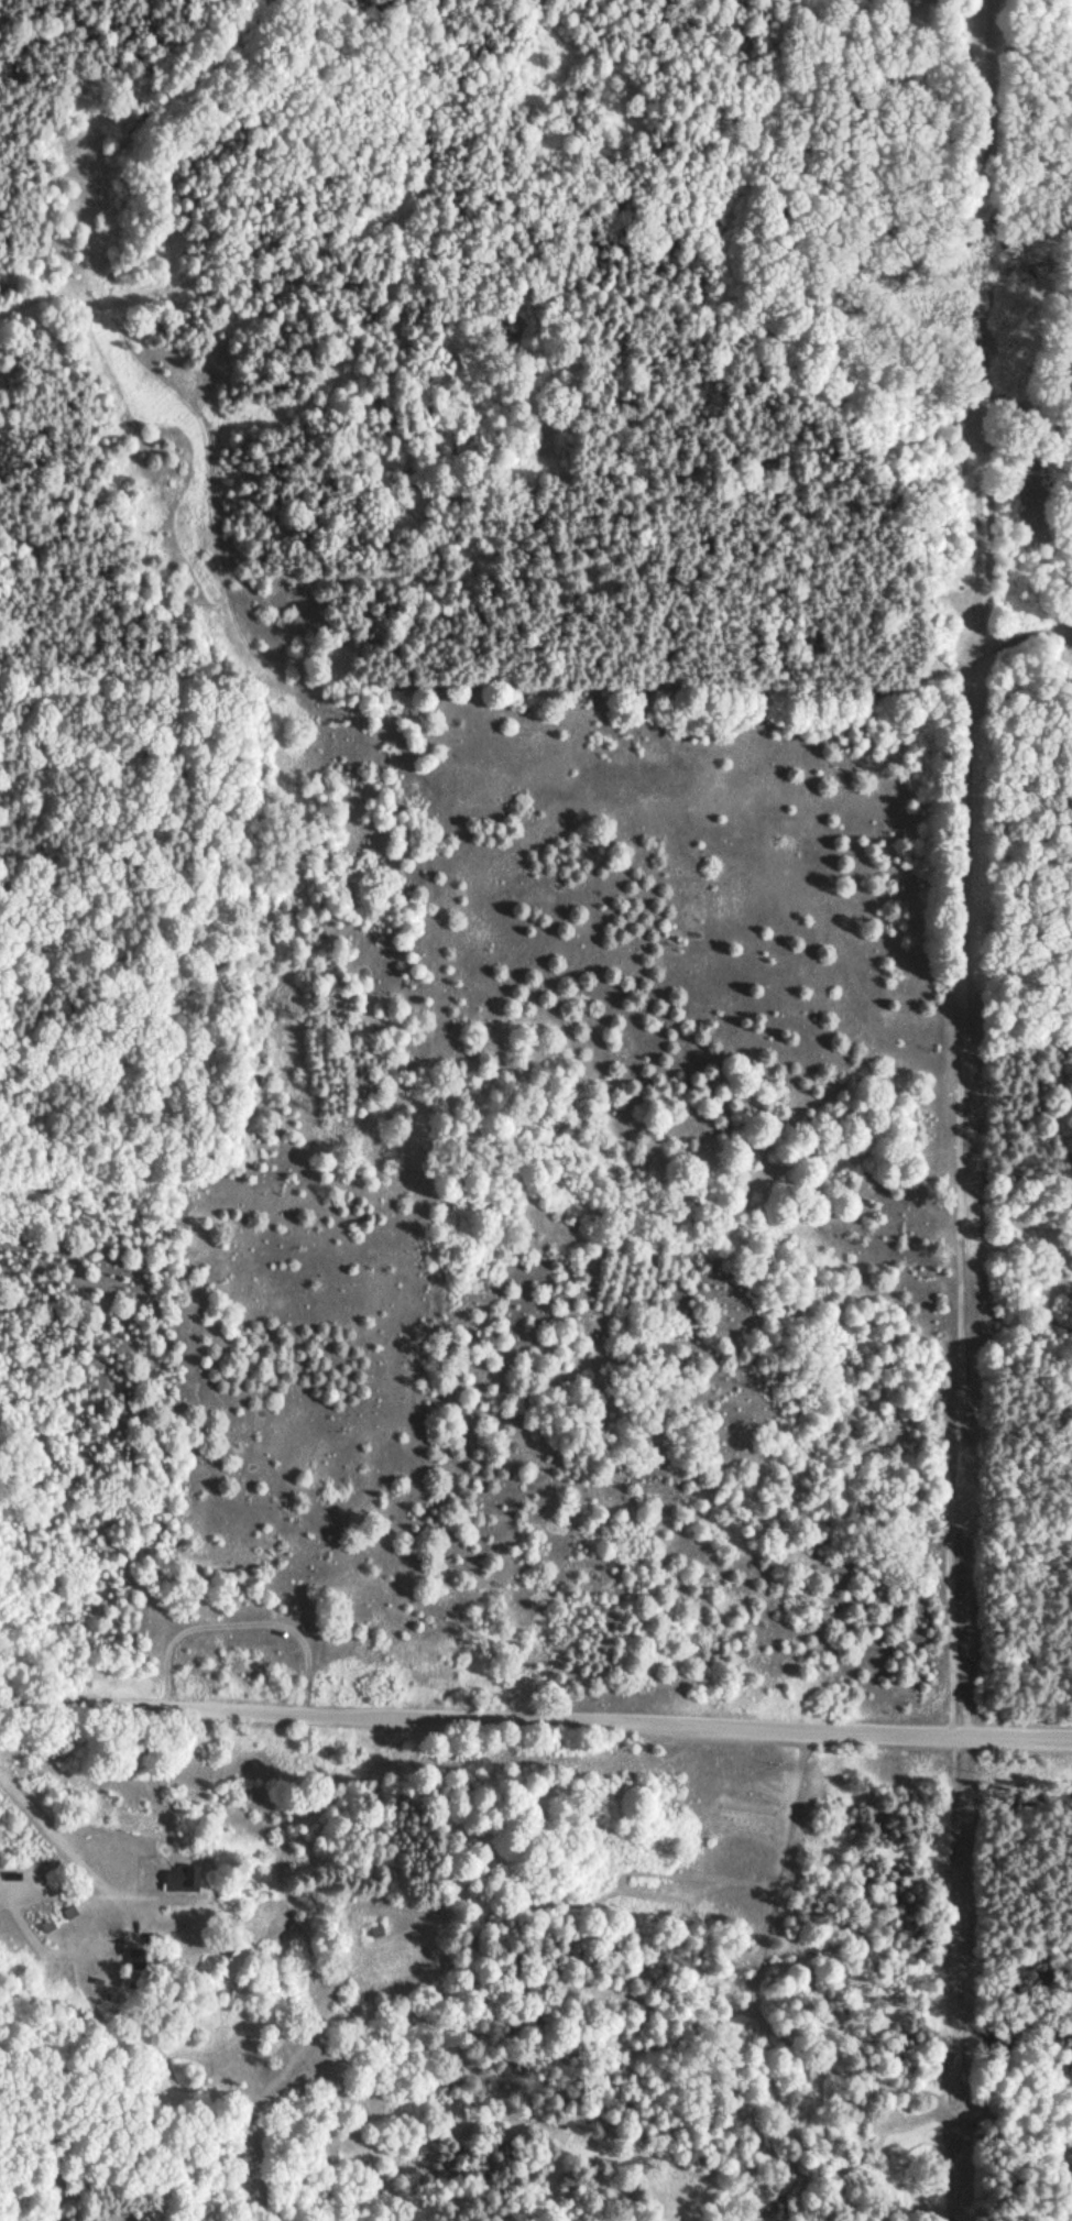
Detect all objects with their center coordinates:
road: (536, 1709)
building: (182, 1878)
building: (374, 1930)
building: (237, 1961)
building: (136, 1963)

